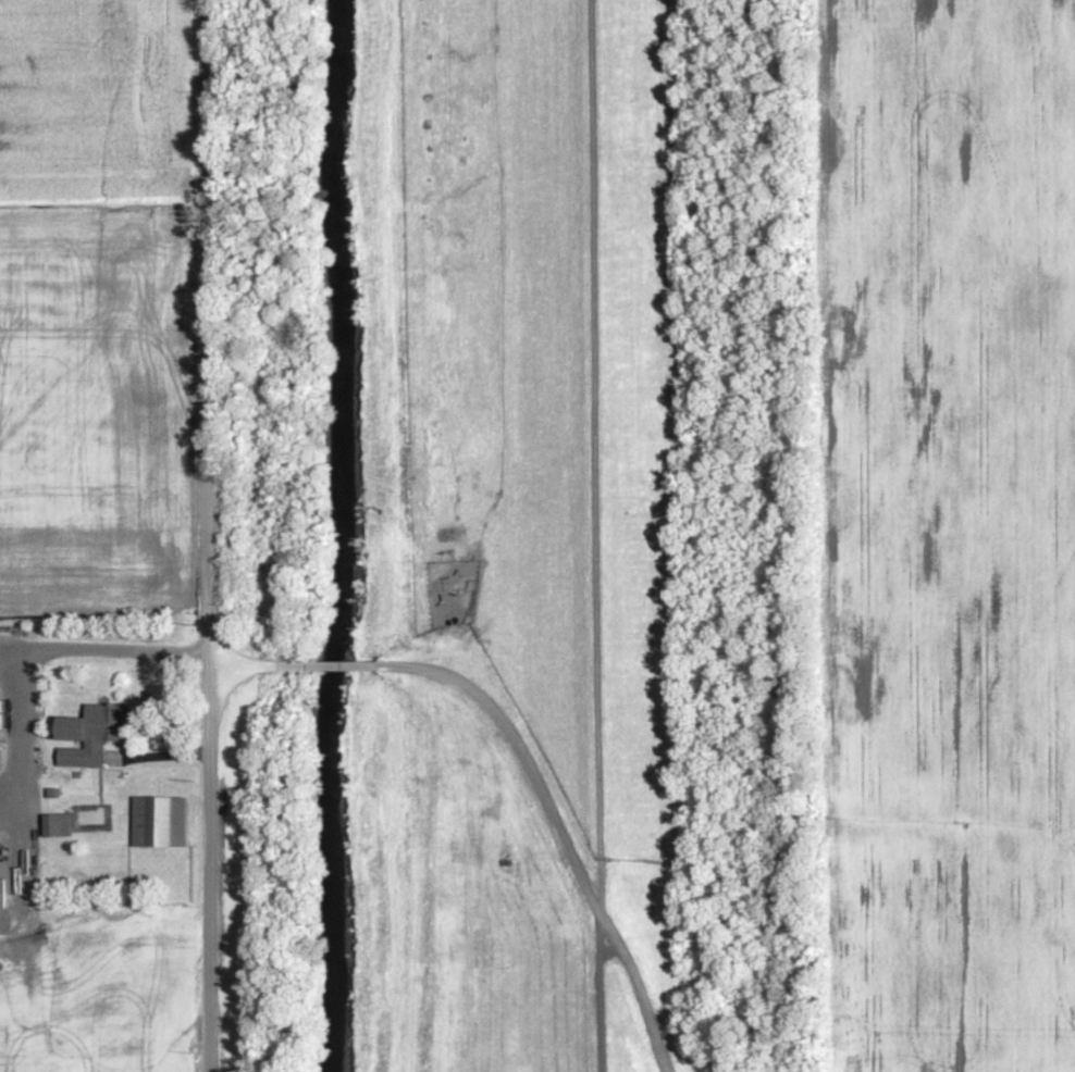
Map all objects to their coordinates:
road: (597, 457)
road: (209, 535)
building: (461, 553)
building: (1, 720)
building: (96, 735)
road: (521, 755)
building: (2, 759)
building: (453, 770)
building: (163, 823)
building: (62, 826)
road: (32, 838)
road: (601, 1002)

